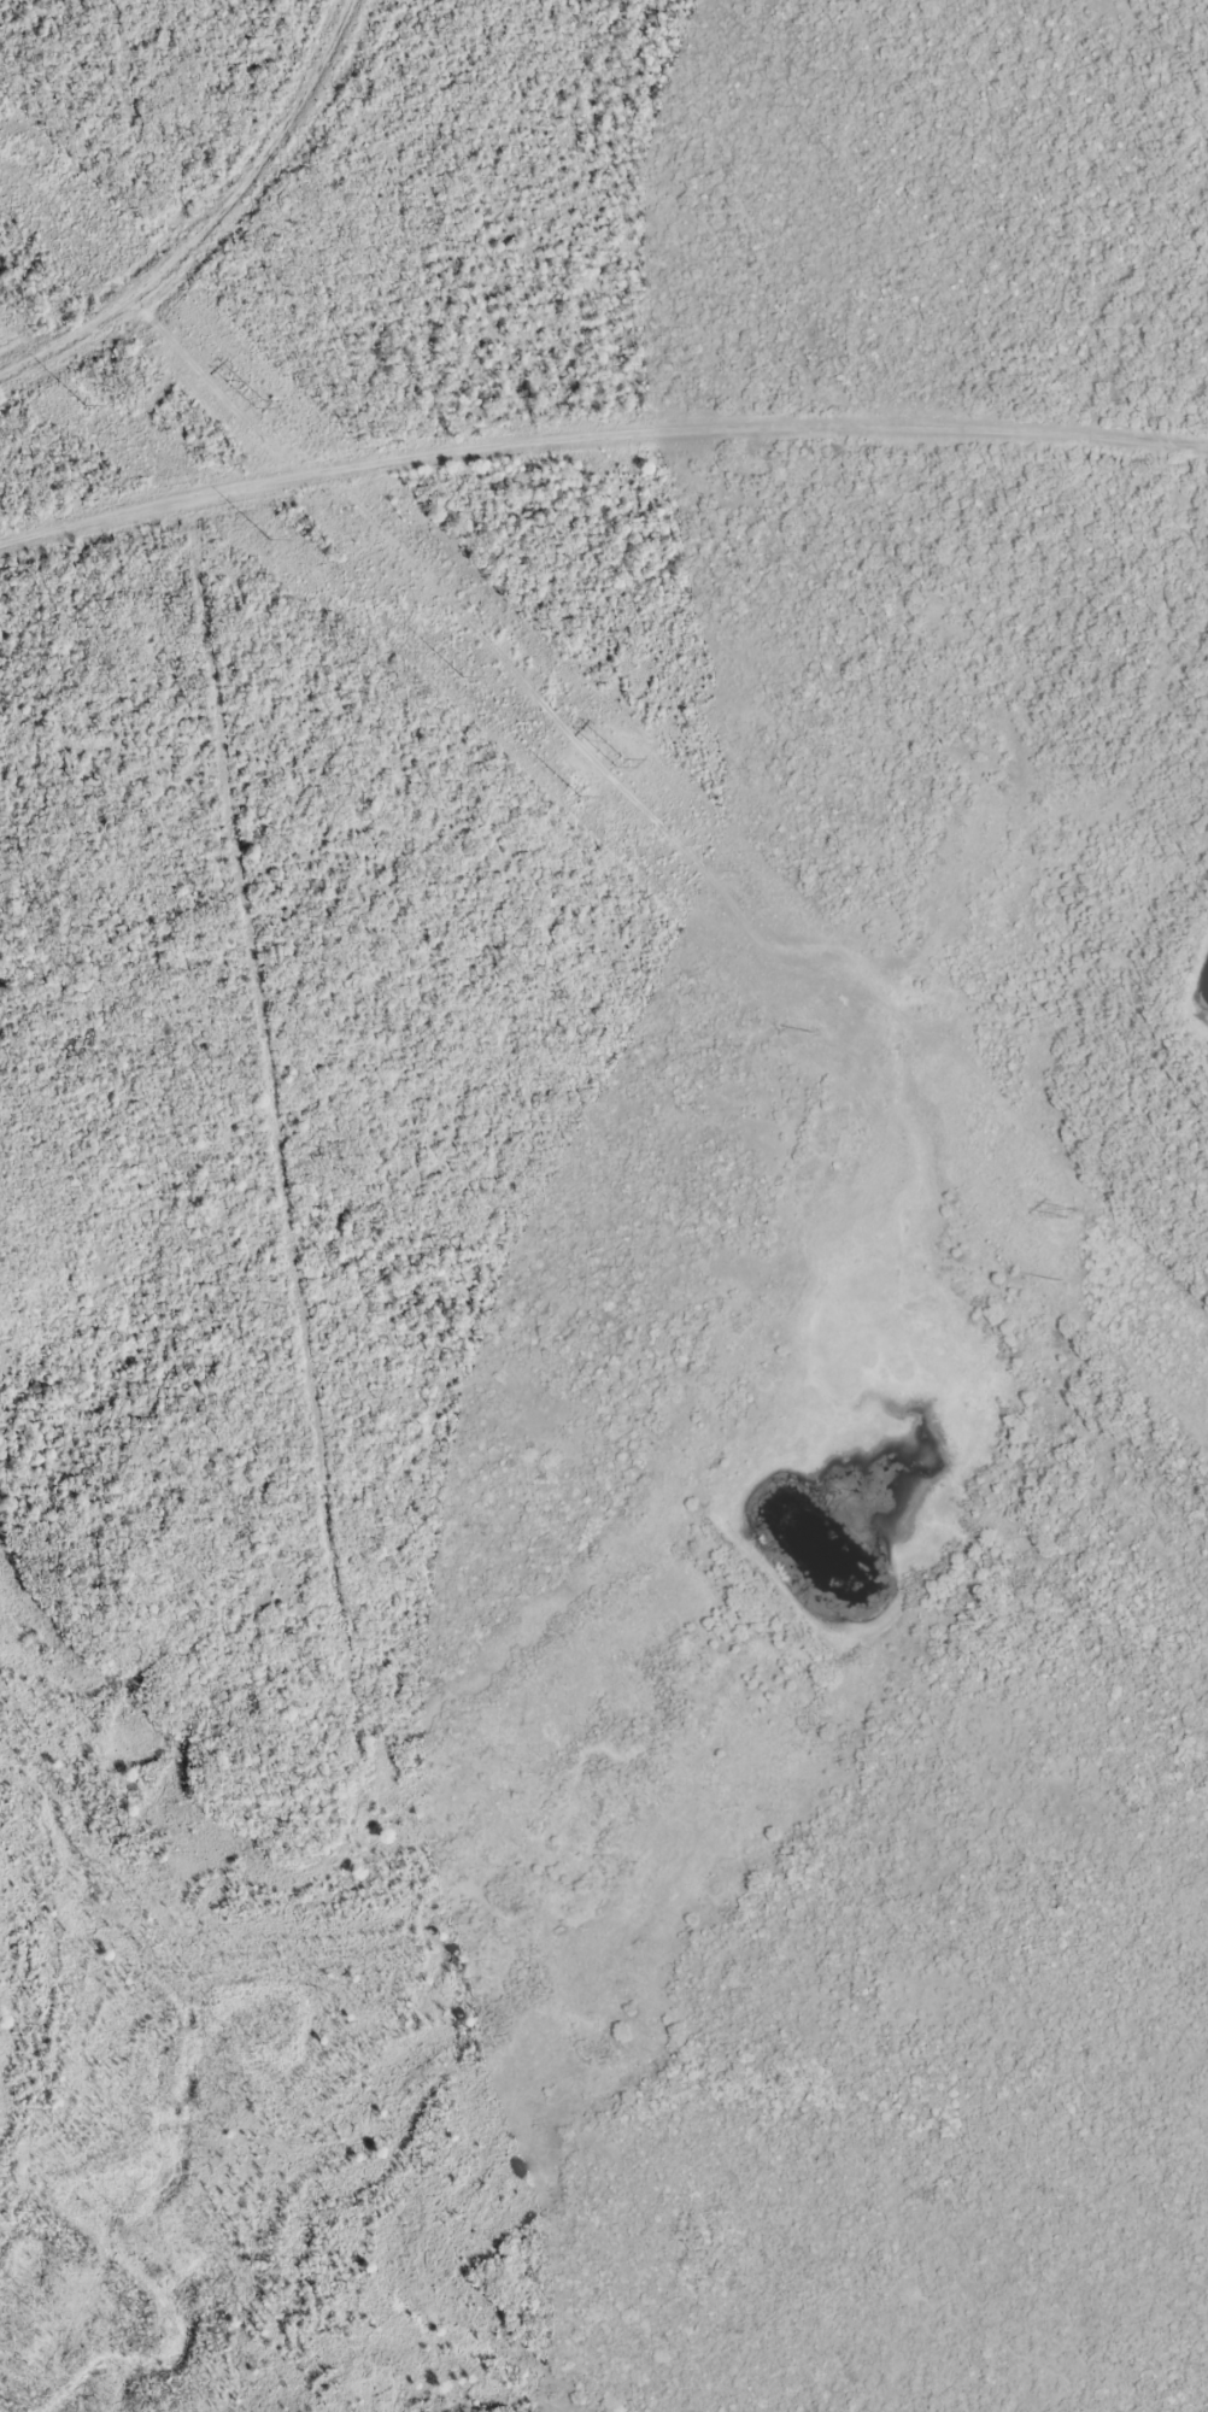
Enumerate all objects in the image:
road: (206, 210)
power tower: (258, 404)
power tower: (81, 405)
road: (599, 436)
power tower: (269, 540)
power tower: (461, 676)
power tower: (618, 763)
power tower: (577, 797)
power tower: (815, 1033)
power tower: (1071, 1213)
power tower: (1065, 1281)

